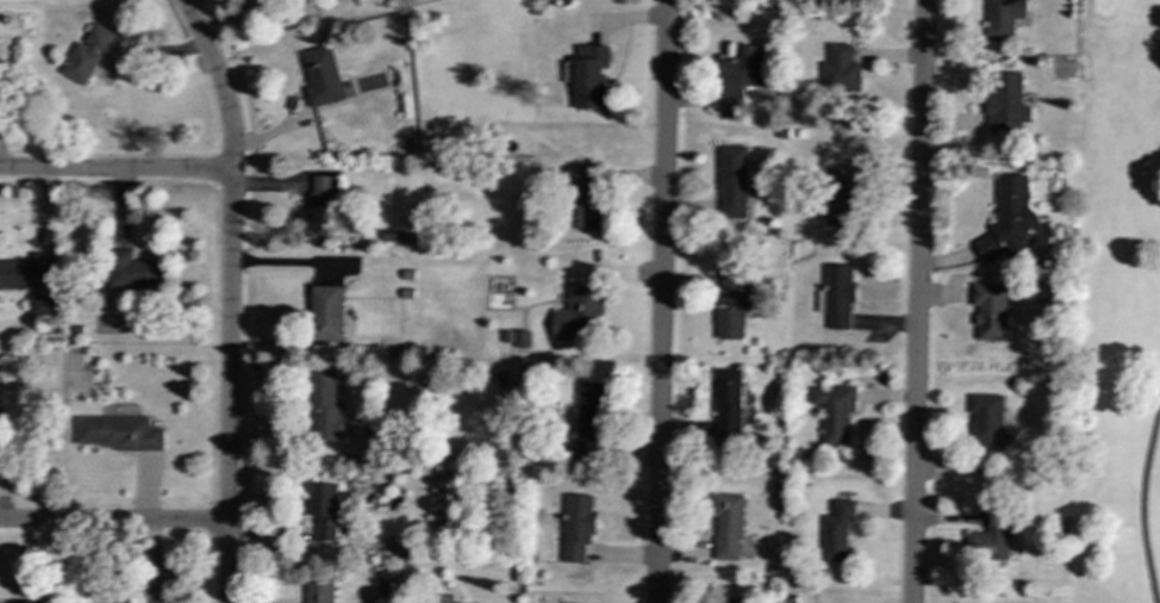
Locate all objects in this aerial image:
building: (1003, 18)
building: (86, 55)
building: (840, 70)
building: (320, 76)
building: (588, 76)
building: (741, 79)
building: (1006, 102)
road: (114, 170)
building: (731, 181)
building: (840, 197)
building: (581, 199)
building: (320, 205)
building: (1009, 219)
building: (20, 271)
building: (133, 271)
building: (836, 296)
road: (229, 297)
road: (659, 300)
road: (917, 301)
building: (731, 304)
building: (39, 306)
park: (1112, 306)
building: (990, 310)
building: (326, 312)
building: (576, 313)
building: (520, 341)
building: (726, 403)
building: (325, 408)
building: (834, 411)
building: (586, 418)
building: (5, 419)
building: (987, 422)
building: (119, 433)
road: (1139, 498)
building: (322, 509)
road: (112, 522)
building: (575, 526)
building: (726, 526)
building: (836, 530)
building: (990, 536)
building: (316, 590)
building: (447, 599)
building: (729, 601)

